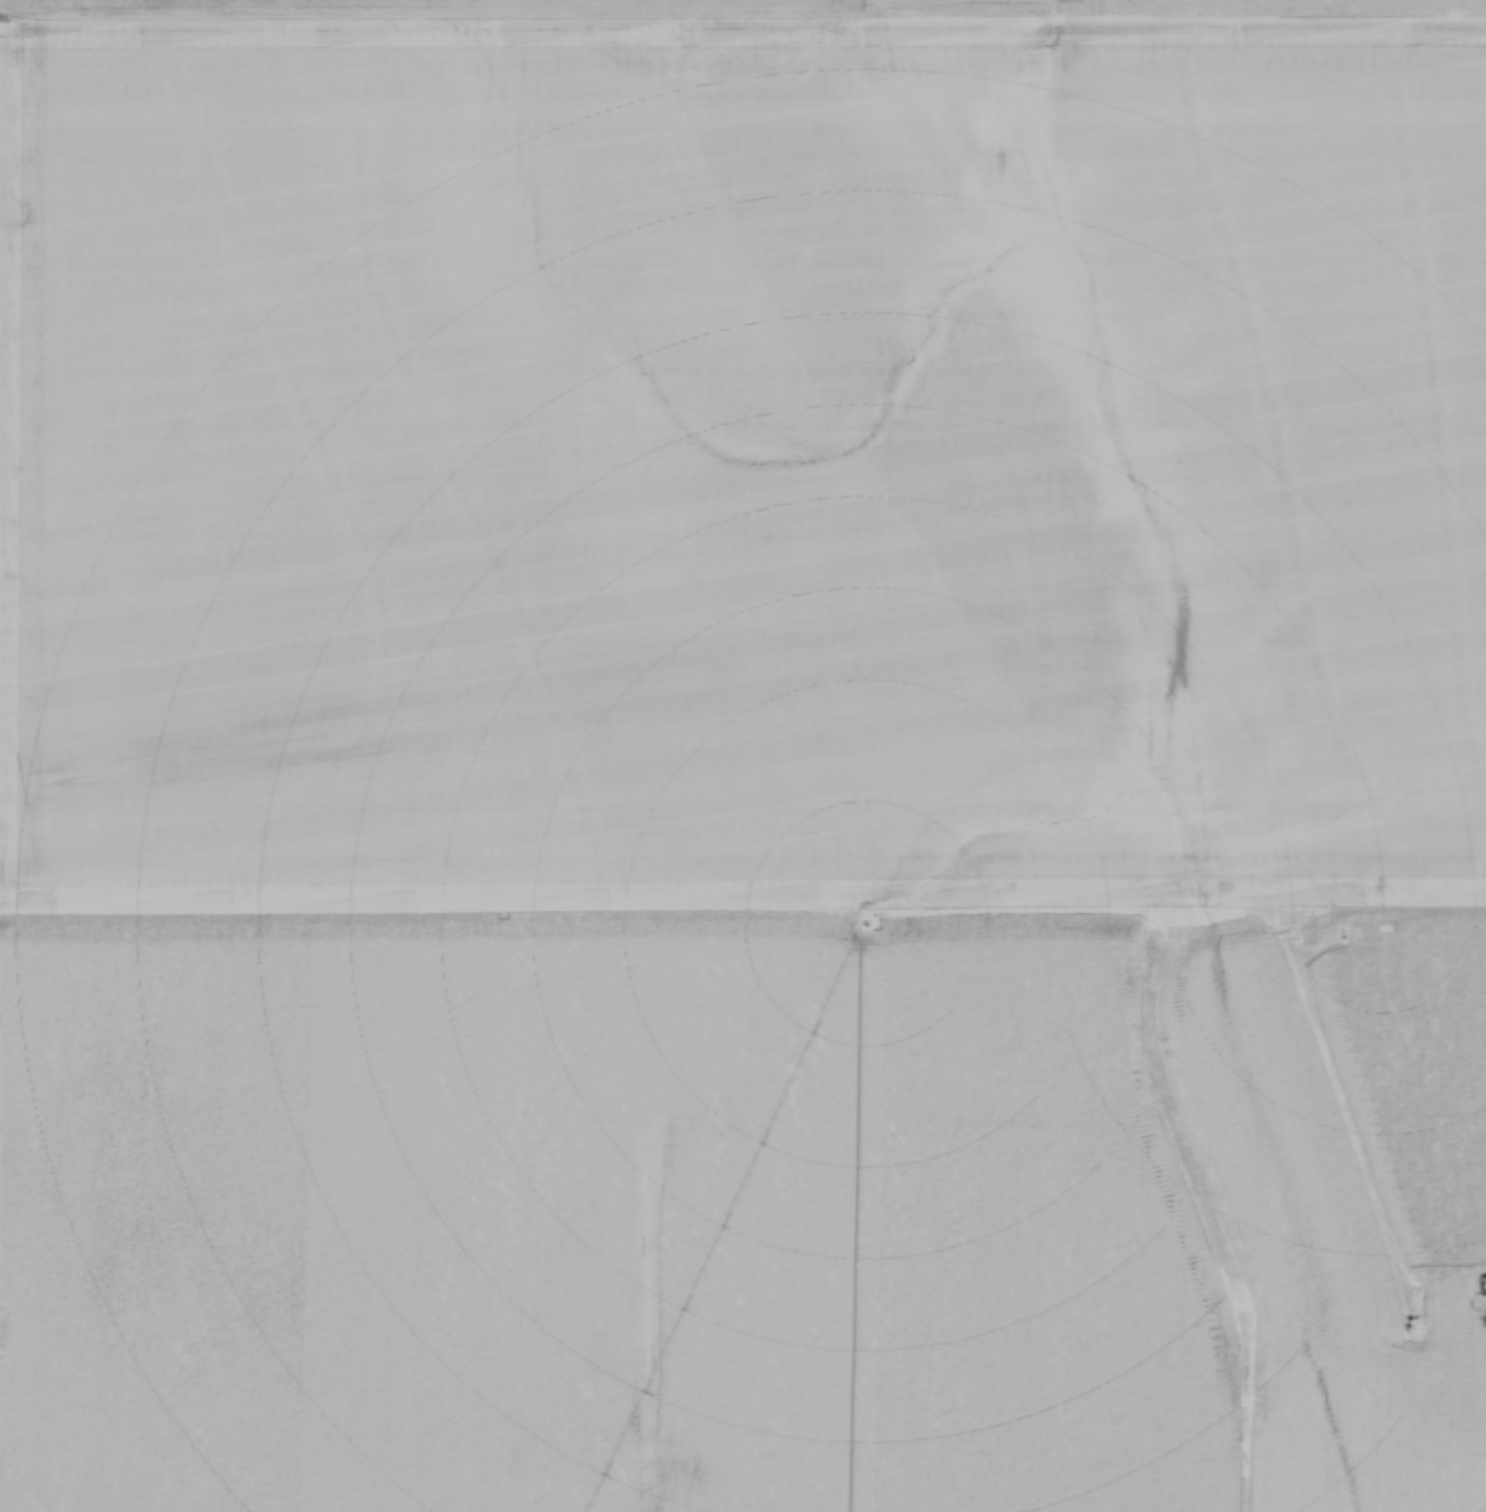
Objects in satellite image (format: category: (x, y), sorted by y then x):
building: (1484, 1286)

